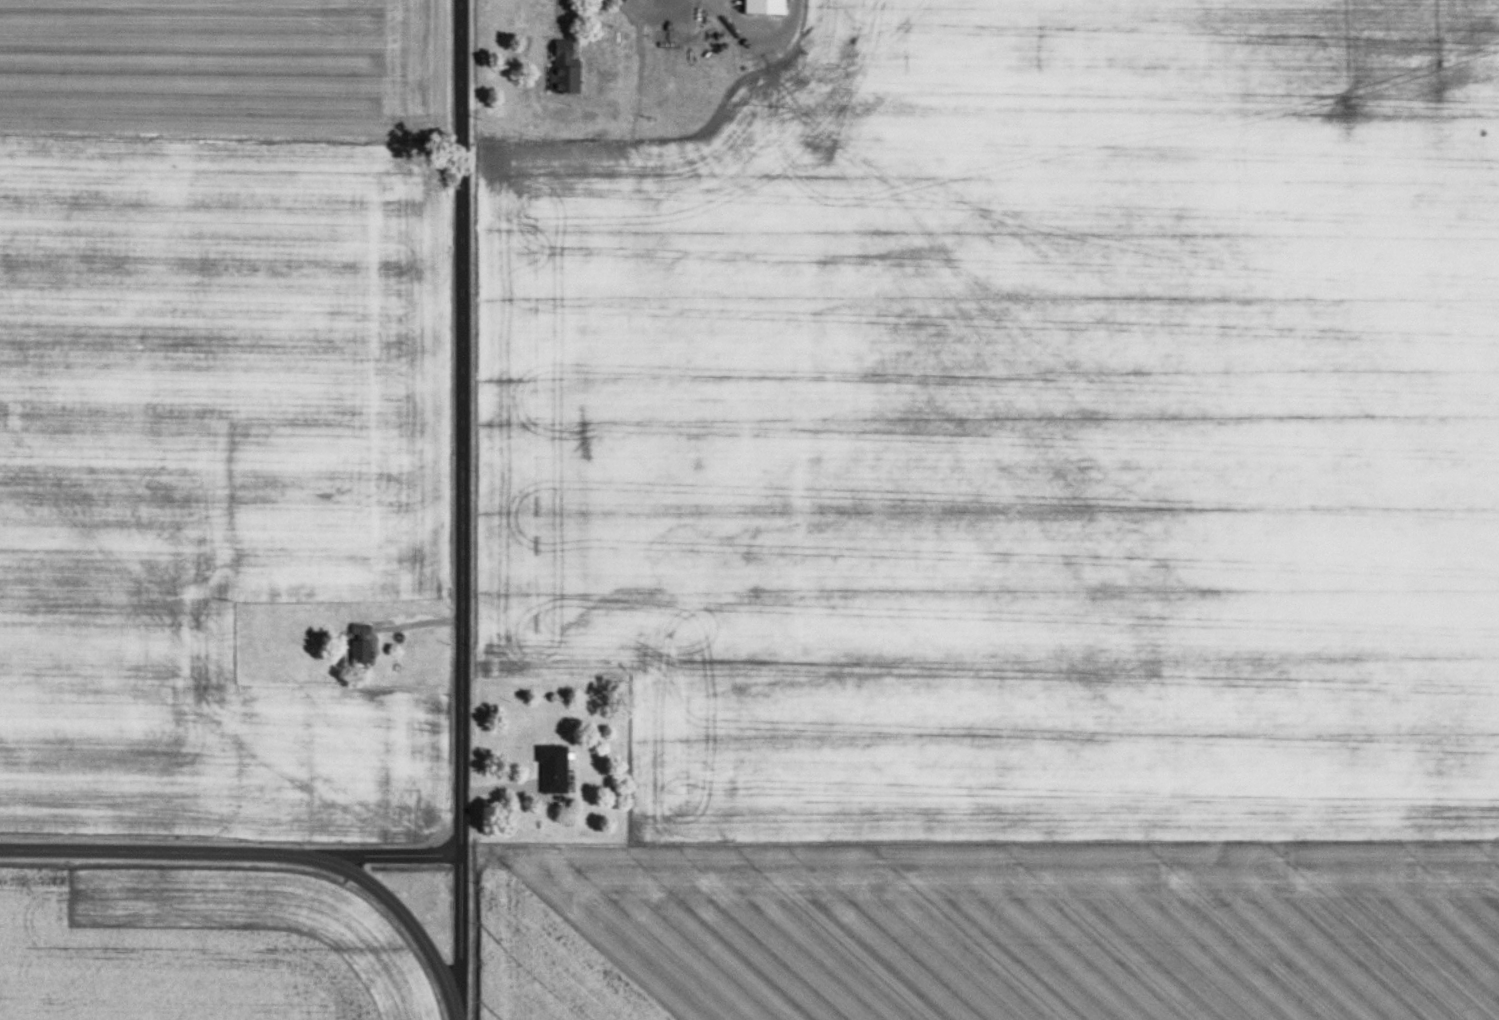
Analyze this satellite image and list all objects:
building: (767, 7)
road: (561, 16)
road: (762, 40)
road: (459, 426)
building: (359, 649)
road: (271, 852)
road: (379, 853)
road: (460, 936)

